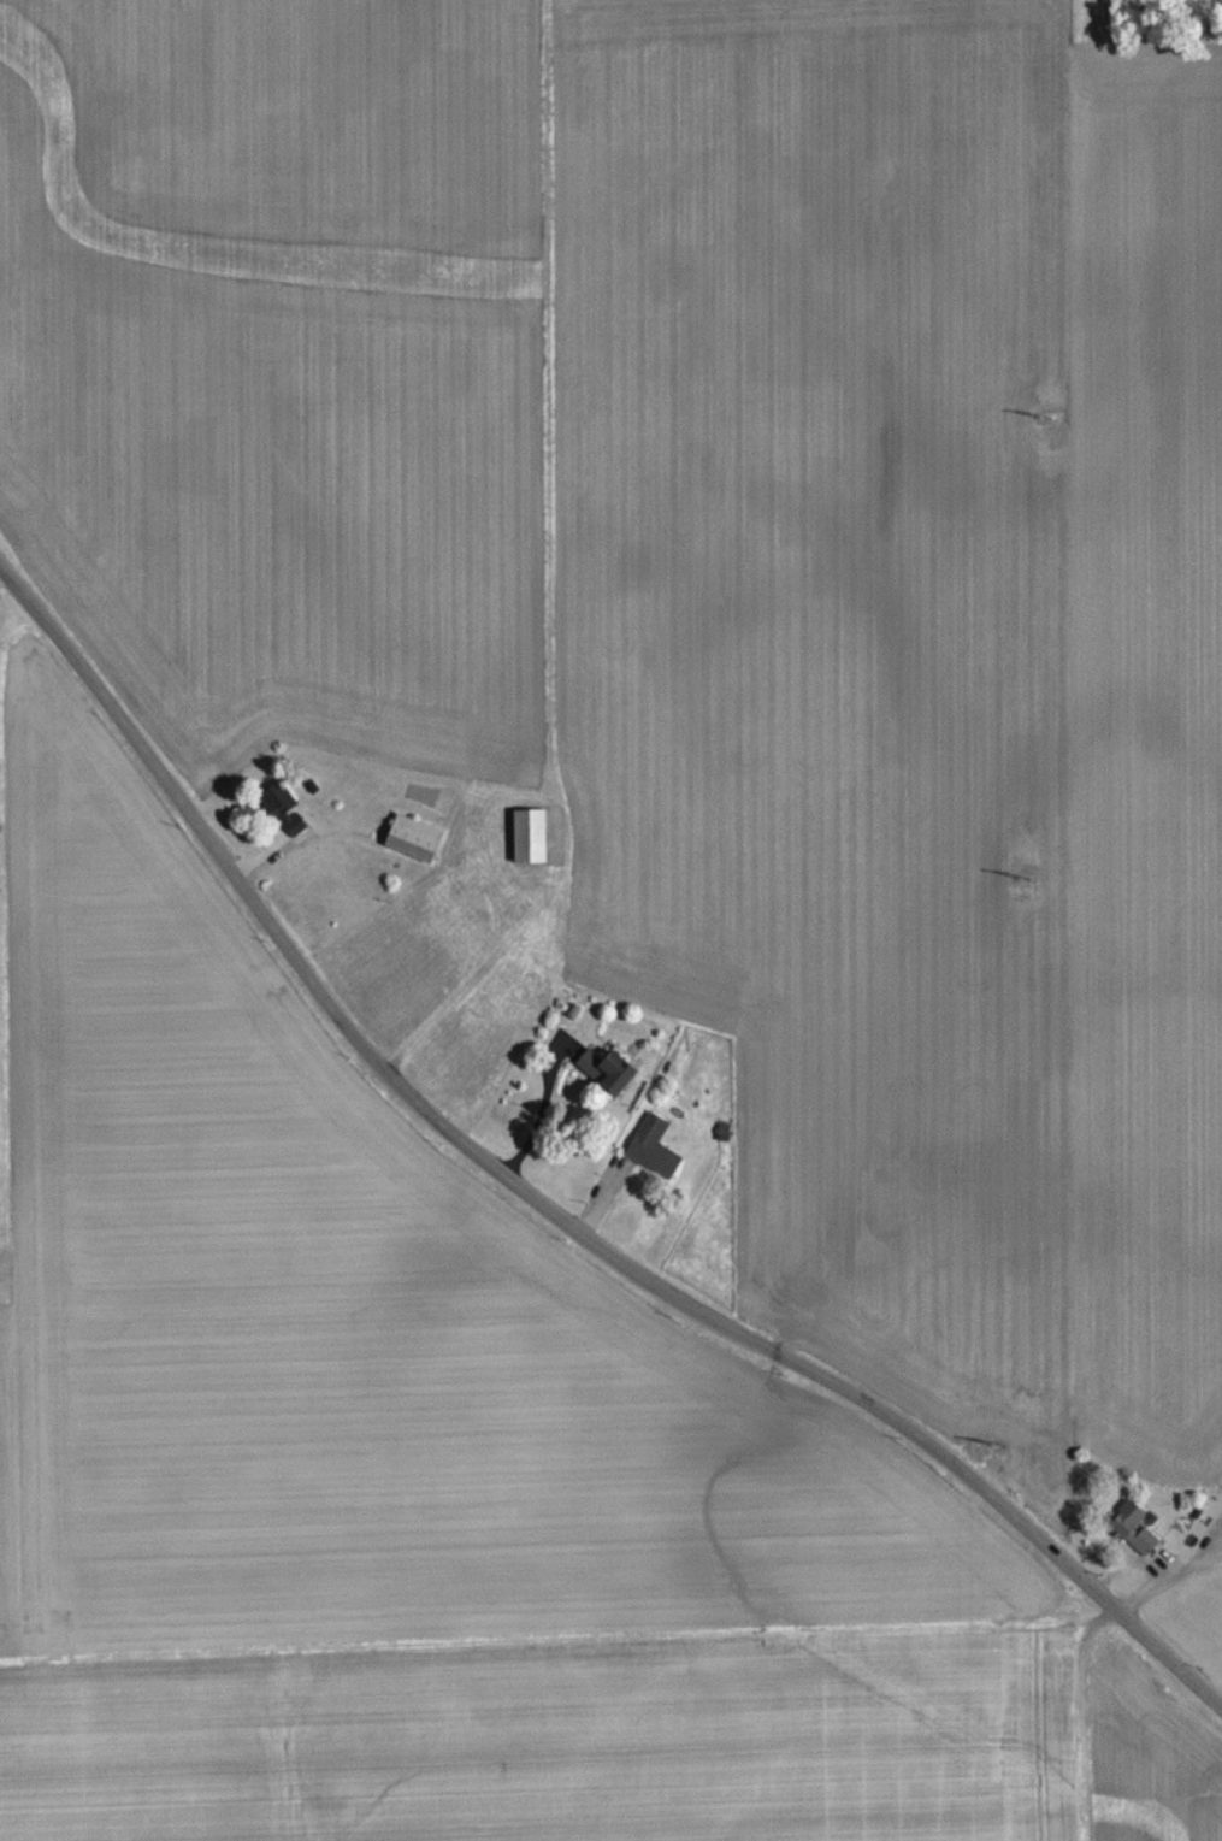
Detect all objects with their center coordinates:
road: (0, 562)
building: (285, 824)
building: (530, 850)
building: (414, 852)
building: (607, 1085)
road: (543, 1125)
building: (654, 1161)
road: (536, 1215)
building: (1131, 1523)
road: (1132, 1562)
road: (1171, 1579)

